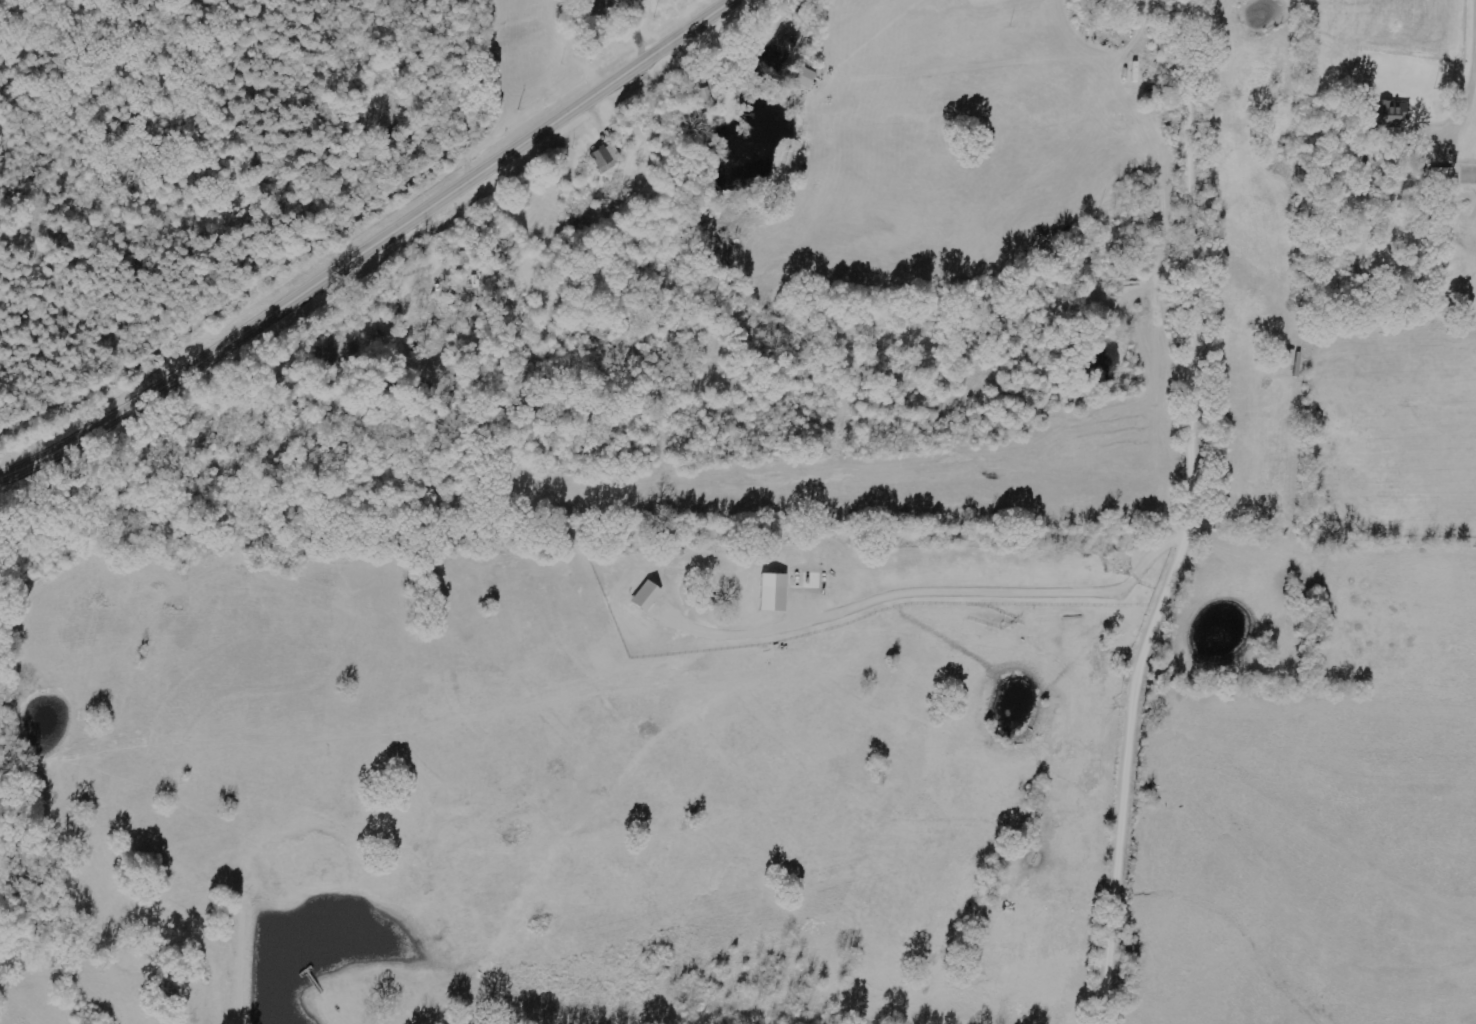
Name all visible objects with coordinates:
building: (807, 78)
road: (472, 85)
building: (713, 94)
building: (1386, 115)
building: (607, 159)
building: (1441, 175)
road: (369, 244)
road: (1202, 517)
building: (776, 592)

